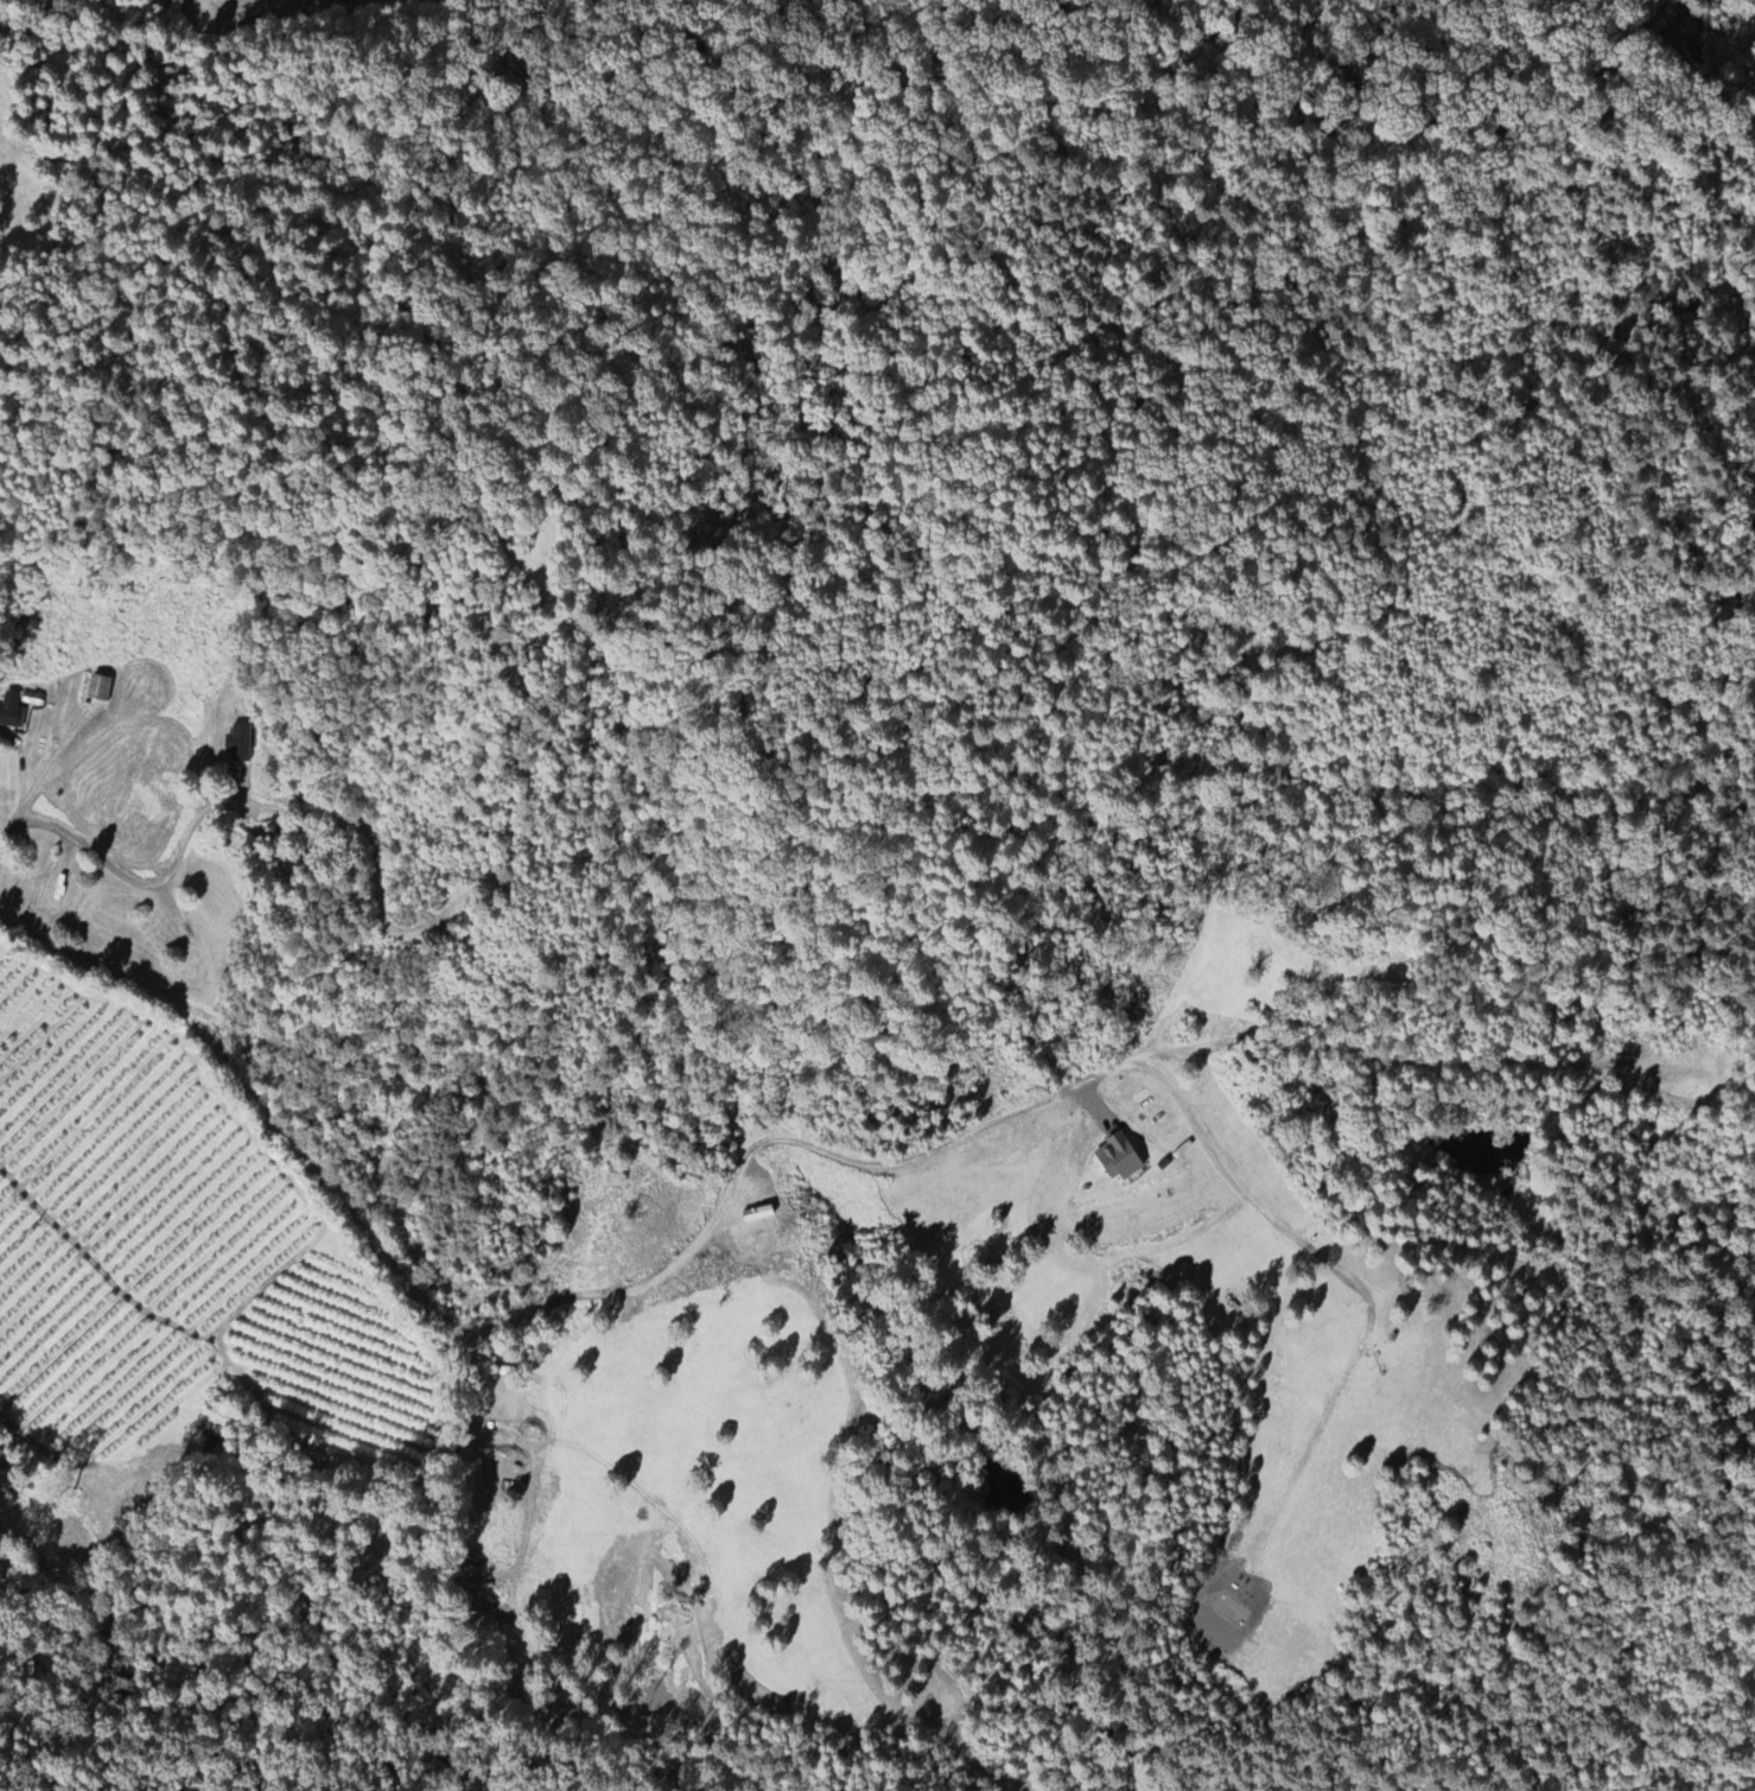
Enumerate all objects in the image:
building: (1680, 33)
building: (100, 690)
building: (12, 713)
building: (239, 745)
road: (120, 890)
building: (1119, 1160)
road: (510, 1323)

